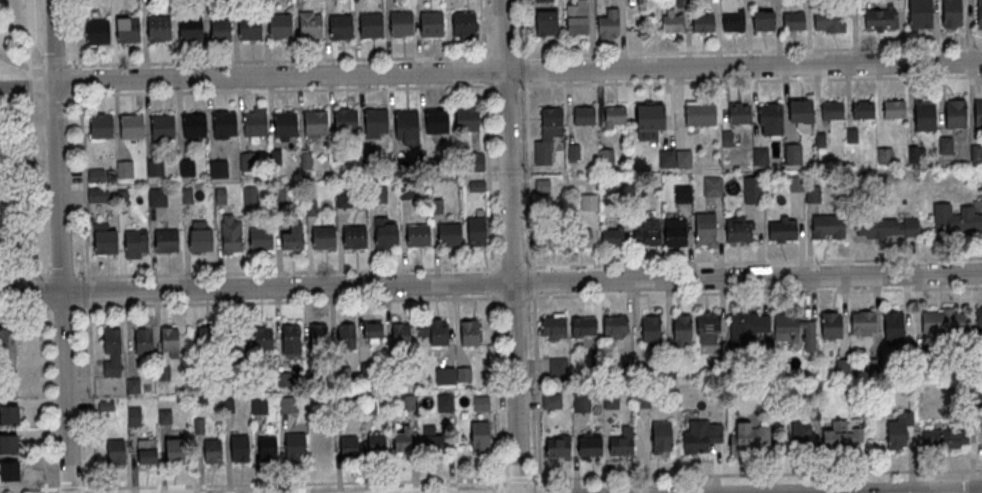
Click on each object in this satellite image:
building: (545, 1)
building: (952, 13)
building: (979, 13)
building: (920, 14)
building: (576, 17)
building: (881, 18)
building: (733, 20)
building: (763, 20)
building: (793, 20)
building: (671, 21)
building: (829, 21)
building: (702, 22)
building: (401, 23)
building: (432, 23)
building: (464, 23)
building: (546, 23)
building: (608, 24)
building: (280, 26)
building: (310, 26)
building: (341, 26)
building: (371, 26)
building: (249, 27)
building: (159, 28)
building: (191, 28)
building: (220, 29)
road: (483, 29)
building: (128, 30)
building: (98, 32)
road: (28, 39)
road: (751, 49)
road: (505, 55)
road: (278, 59)
road: (55, 64)
road: (20, 65)
road: (516, 70)
road: (749, 79)
road: (26, 85)
road: (503, 85)
road: (31, 87)
road: (279, 90)
road: (60, 95)
building: (863, 109)
building: (894, 109)
building: (801, 110)
building: (833, 110)
building: (978, 112)
building: (739, 113)
building: (701, 114)
building: (924, 114)
building: (955, 114)
building: (583, 115)
building: (771, 115)
building: (614, 116)
building: (467, 118)
building: (553, 119)
building: (345, 120)
building: (437, 120)
building: (376, 121)
building: (650, 121)
building: (225, 123)
building: (255, 123)
building: (315, 123)
building: (194, 124)
building: (285, 124)
building: (101, 126)
building: (132, 126)
building: (163, 126)
building: (406, 126)
building: (852, 136)
road: (82, 139)
building: (945, 144)
building: (976, 152)
building: (793, 153)
building: (914, 154)
building: (885, 155)
building: (761, 156)
building: (606, 158)
building: (667, 158)
building: (684, 158)
road: (488, 164)
building: (187, 166)
building: (124, 168)
building: (218, 168)
park: (15, 182)
building: (797, 183)
building: (711, 188)
road: (34, 189)
building: (682, 193)
building: (814, 193)
building: (752, 194)
building: (98, 195)
building: (249, 195)
building: (157, 196)
building: (589, 201)
building: (954, 220)
building: (829, 225)
building: (782, 228)
building: (887, 228)
building: (738, 229)
building: (705, 230)
building: (476, 231)
building: (675, 233)
building: (231, 234)
building: (387, 235)
building: (450, 235)
building: (646, 235)
building: (418, 236)
building: (294, 237)
building: (324, 237)
building: (355, 237)
building: (549, 238)
building: (578, 238)
building: (611, 238)
building: (261, 239)
building: (166, 240)
building: (201, 240)
building: (106, 242)
building: (136, 242)
road: (58, 246)
road: (508, 246)
road: (531, 246)
road: (755, 262)
road: (513, 267)
road: (289, 271)
road: (63, 276)
road: (22, 277)
road: (492, 281)
road: (491, 284)
road: (89, 291)
road: (754, 291)
road: (39, 293)
road: (512, 296)
road: (292, 301)
road: (66, 305)
road: (23, 306)
building: (943, 321)
building: (979, 321)
building: (862, 322)
building: (739, 323)
building: (706, 325)
building: (614, 326)
building: (832, 326)
building: (893, 326)
building: (583, 327)
building: (552, 328)
building: (682, 328)
building: (792, 328)
building: (651, 329)
building: (433, 331)
building: (372, 332)
building: (400, 332)
building: (469, 333)
building: (345, 335)
building: (317, 336)
building: (143, 340)
building: (208, 340)
building: (290, 340)
building: (256, 341)
building: (7, 342)
building: (169, 342)
building: (111, 351)
building: (558, 368)
building: (463, 374)
building: (445, 375)
road: (496, 393)
road: (42, 398)
road: (92, 398)
building: (551, 400)
building: (444, 402)
building: (581, 402)
building: (480, 403)
building: (9, 415)
building: (802, 433)
building: (700, 434)
building: (842, 434)
building: (897, 434)
building: (957, 434)
building: (479, 435)
building: (661, 437)
building: (750, 437)
building: (403, 439)
building: (431, 440)
building: (622, 442)
building: (376, 443)
building: (590, 444)
building: (9, 445)
building: (348, 445)
building: (557, 445)
building: (295, 446)
building: (322, 447)
building: (239, 448)
building: (267, 448)
building: (174, 450)
building: (212, 450)
building: (115, 451)
building: (146, 451)
building: (10, 471)
road: (756, 473)
road: (519, 479)
road: (294, 484)
road: (71, 490)
road: (30, 491)
road: (923, 492)
road: (928, 492)
road: (938, 492)
road: (957, 492)

